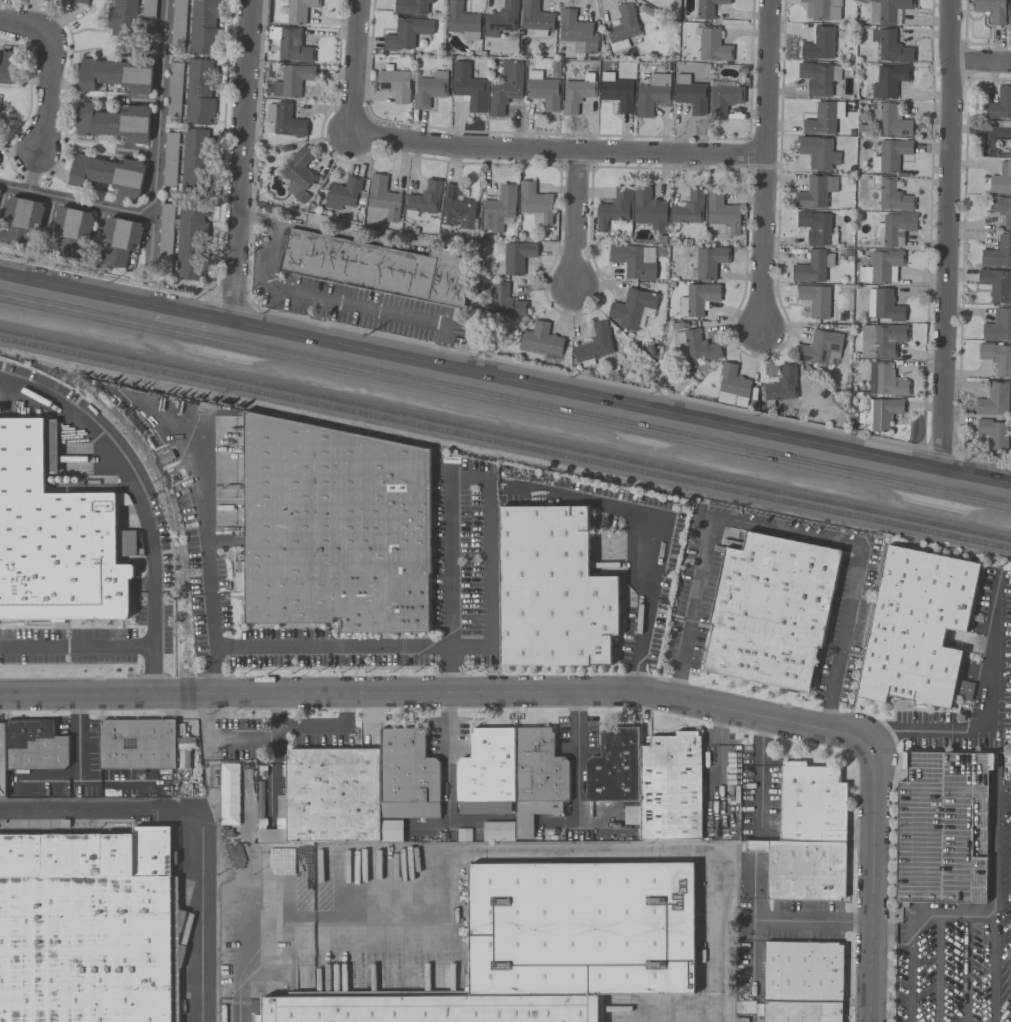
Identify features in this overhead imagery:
building: (79, 1)
building: (411, 7)
building: (707, 8)
building: (822, 9)
building: (991, 10)
building: (296, 11)
building: (887, 11)
building: (1009, 14)
building: (122, 18)
building: (535, 18)
building: (461, 19)
building: (501, 19)
building: (203, 27)
building: (622, 27)
building: (577, 32)
building: (406, 33)
building: (290, 44)
building: (819, 44)
building: (713, 46)
building: (891, 47)
road: (979, 61)
road: (353, 66)
building: (7, 67)
road: (49, 70)
building: (116, 75)
road: (768, 77)
building: (818, 78)
building: (292, 81)
building: (889, 81)
building: (394, 84)
building: (468, 87)
building: (505, 87)
building: (430, 89)
building: (543, 90)
building: (199, 92)
building: (618, 94)
building: (651, 94)
building: (690, 94)
building: (576, 95)
building: (723, 99)
building: (1000, 104)
road: (158, 106)
building: (824, 118)
building: (285, 120)
building: (890, 120)
building: (114, 123)
building: (997, 144)
road: (556, 148)
building: (818, 153)
building: (890, 155)
building: (170, 160)
building: (195, 162)
road: (241, 166)
building: (108, 174)
building: (299, 174)
building: (1001, 179)
building: (815, 192)
building: (342, 193)
building: (893, 196)
building: (383, 197)
building: (424, 199)
road: (74, 201)
building: (535, 204)
building: (456, 208)
building: (499, 208)
building: (614, 208)
building: (648, 208)
building: (1000, 208)
building: (688, 209)
building: (723, 214)
road: (574, 219)
building: (20, 222)
building: (816, 228)
building: (897, 229)
building: (72, 232)
building: (191, 239)
road: (944, 239)
building: (119, 241)
road: (273, 241)
road: (763, 242)
building: (998, 253)
building: (515, 258)
building: (634, 261)
building: (708, 262)
building: (378, 267)
building: (881, 267)
building: (810, 268)
building: (997, 285)
road: (74, 299)
building: (697, 299)
building: (506, 301)
building: (815, 301)
building: (883, 305)
building: (633, 308)
road: (391, 310)
road: (188, 323)
road: (317, 323)
building: (998, 326)
building: (881, 340)
building: (542, 342)
building: (594, 345)
building: (697, 346)
building: (820, 348)
building: (996, 357)
road: (505, 361)
building: (885, 380)
building: (734, 384)
building: (782, 385)
building: (993, 400)
road: (619, 412)
building: (879, 414)
building: (993, 434)
railway: (505, 435)
railway: (505, 445)
road: (484, 483)
road: (140, 505)
road: (627, 508)
road: (205, 517)
building: (334, 525)
road: (786, 532)
building: (56, 533)
building: (552, 590)
building: (769, 610)
building: (916, 626)
road: (76, 646)
road: (213, 646)
road: (356, 646)
road: (638, 647)
road: (435, 697)
road: (984, 722)
road: (312, 725)
building: (137, 743)
building: (35, 744)
road: (576, 748)
building: (2, 758)
road: (447, 761)
road: (761, 768)
building: (408, 774)
building: (510, 778)
building: (649, 780)
building: (332, 793)
road: (198, 816)
building: (942, 827)
building: (391, 830)
building: (271, 834)
building: (807, 834)
building: (463, 835)
road: (992, 844)
road: (515, 856)
road: (869, 879)
road: (752, 890)
road: (979, 913)
road: (811, 921)
building: (89, 927)
building: (545, 947)
road: (752, 951)
road: (940, 967)
road: (966, 967)
building: (803, 971)
road: (909, 975)
building: (801, 1011)

